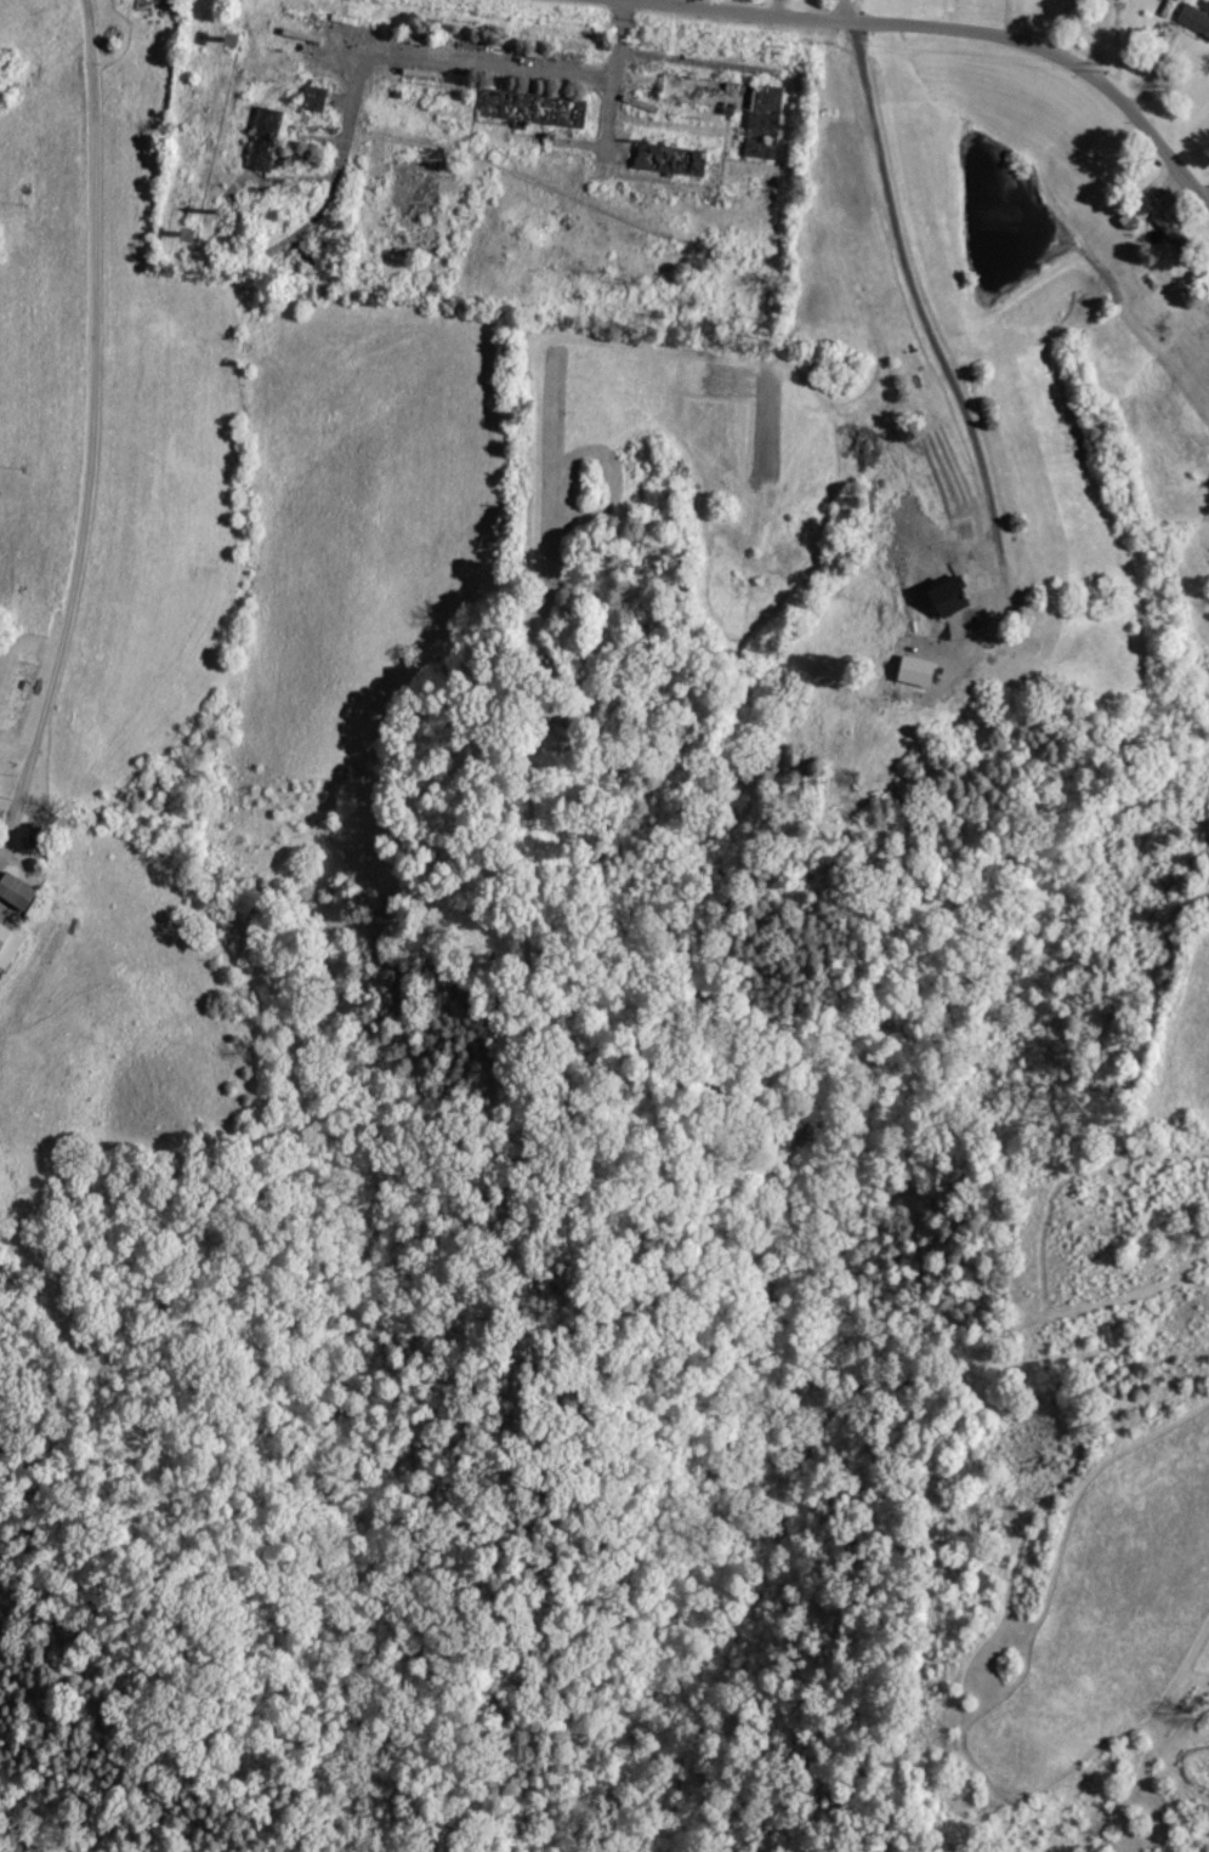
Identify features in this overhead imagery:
road: (773, 11)
road: (841, 13)
building: (1196, 17)
road: (929, 30)
building: (319, 97)
building: (737, 104)
building: (268, 150)
road: (92, 425)
building: (955, 597)
building: (923, 670)
building: (19, 890)
building: (10, 944)

